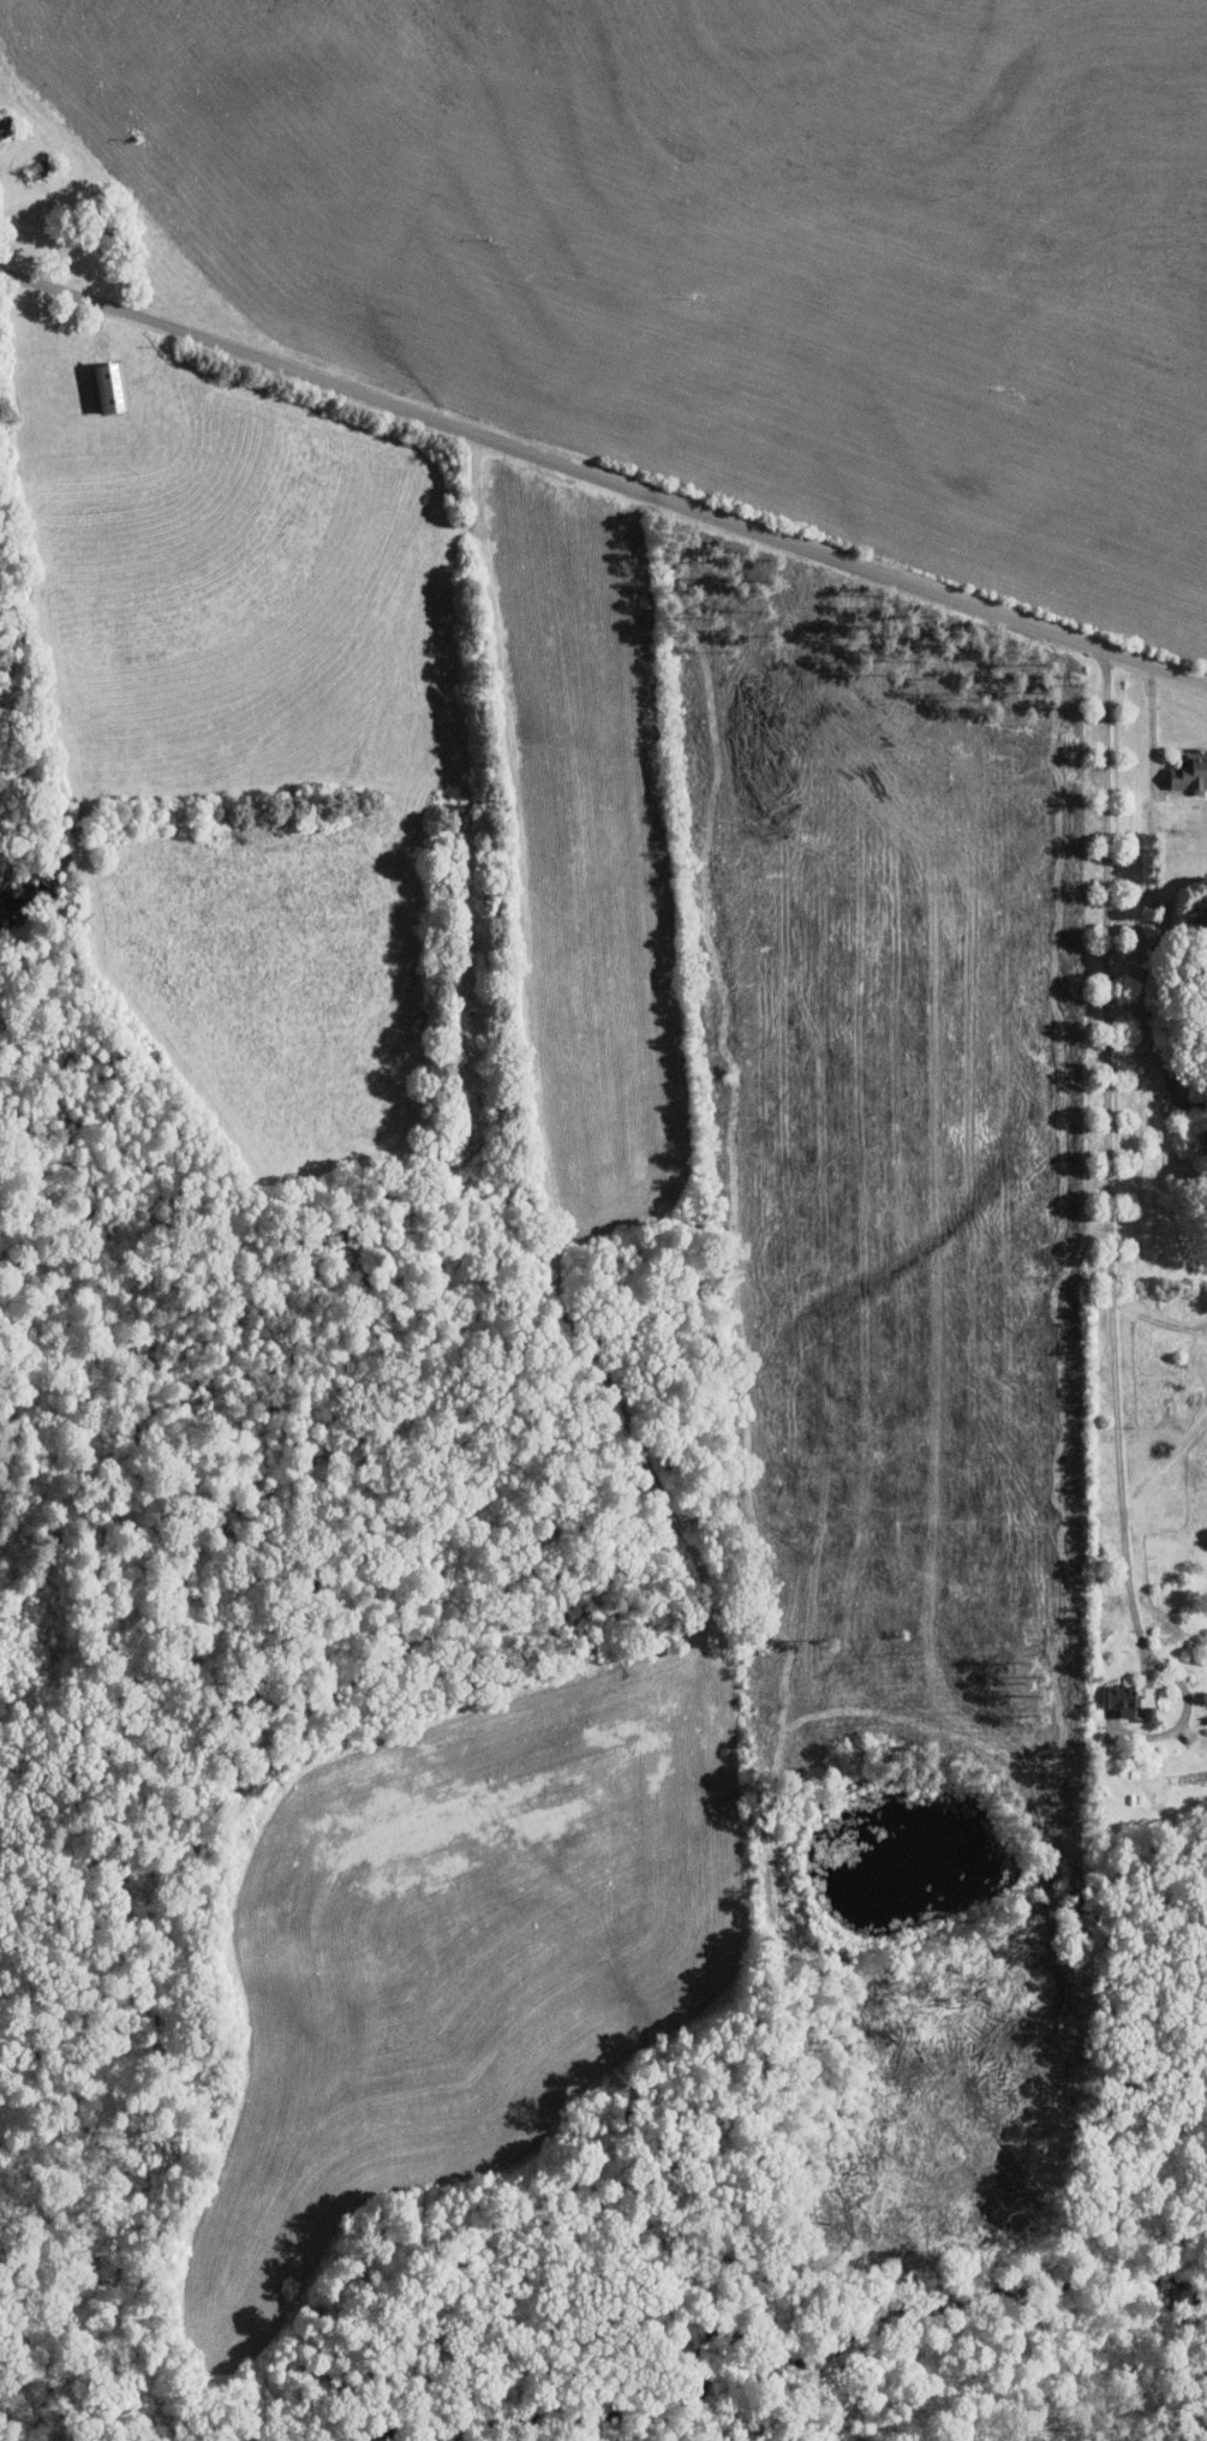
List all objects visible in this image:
building: (109, 386)
road: (603, 482)
road: (1154, 728)
building: (1190, 774)
road: (1166, 932)
road: (1109, 1235)
building: (1123, 1700)

